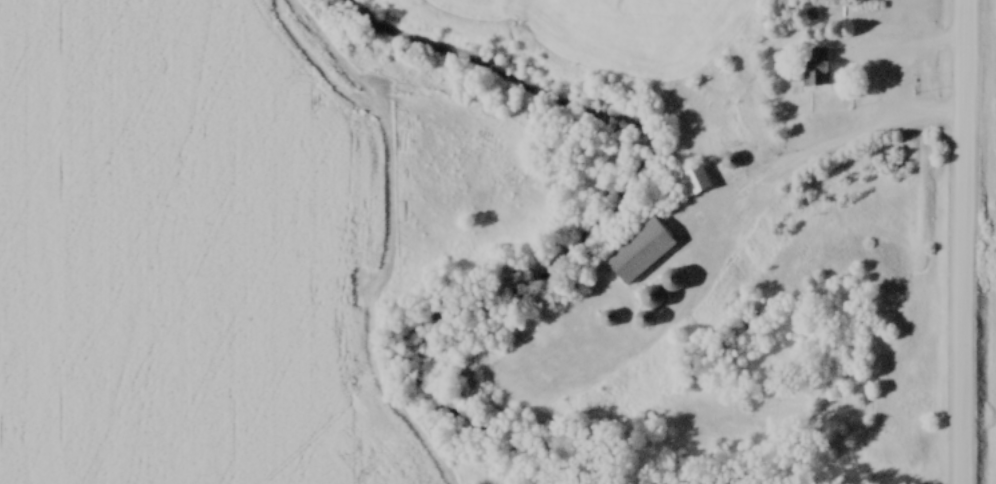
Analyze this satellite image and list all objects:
building: (808, 75)
road: (891, 92)
building: (691, 182)
road: (968, 241)
building: (632, 252)
building: (652, 301)
building: (610, 318)

